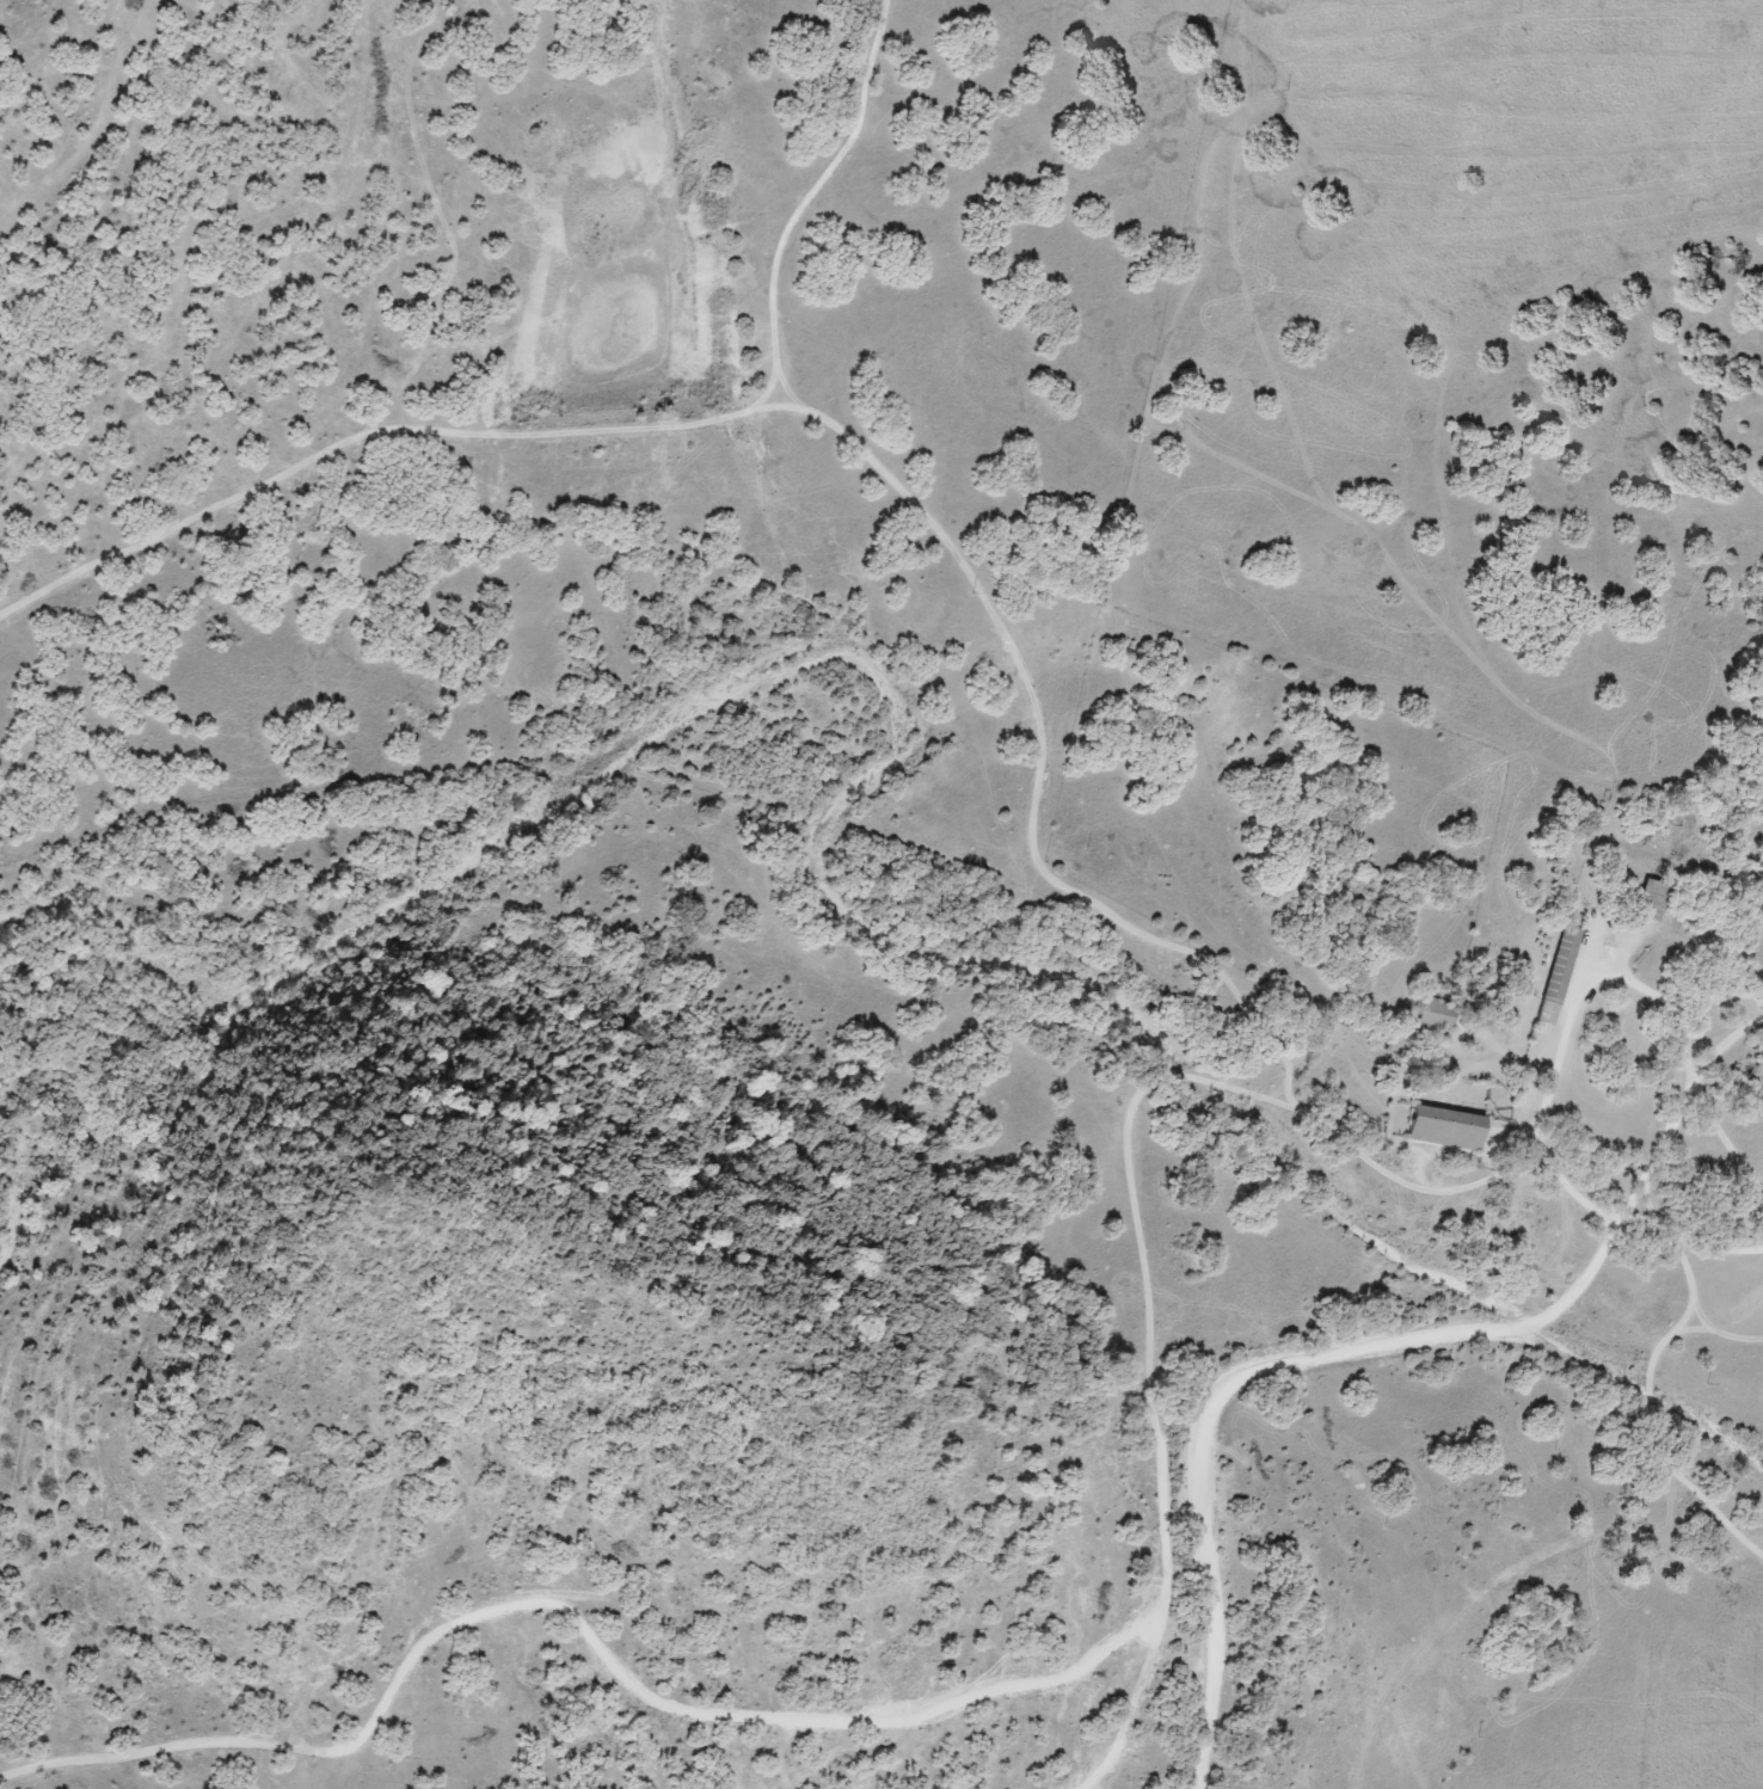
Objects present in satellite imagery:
road: (1025, 760)
building: (1650, 899)
building: (1556, 976)
building: (1435, 1015)
building: (1444, 1129)
road: (1136, 1189)
road: (1370, 1348)
road: (1660, 1394)
road: (1507, 1576)
road: (565, 1617)

